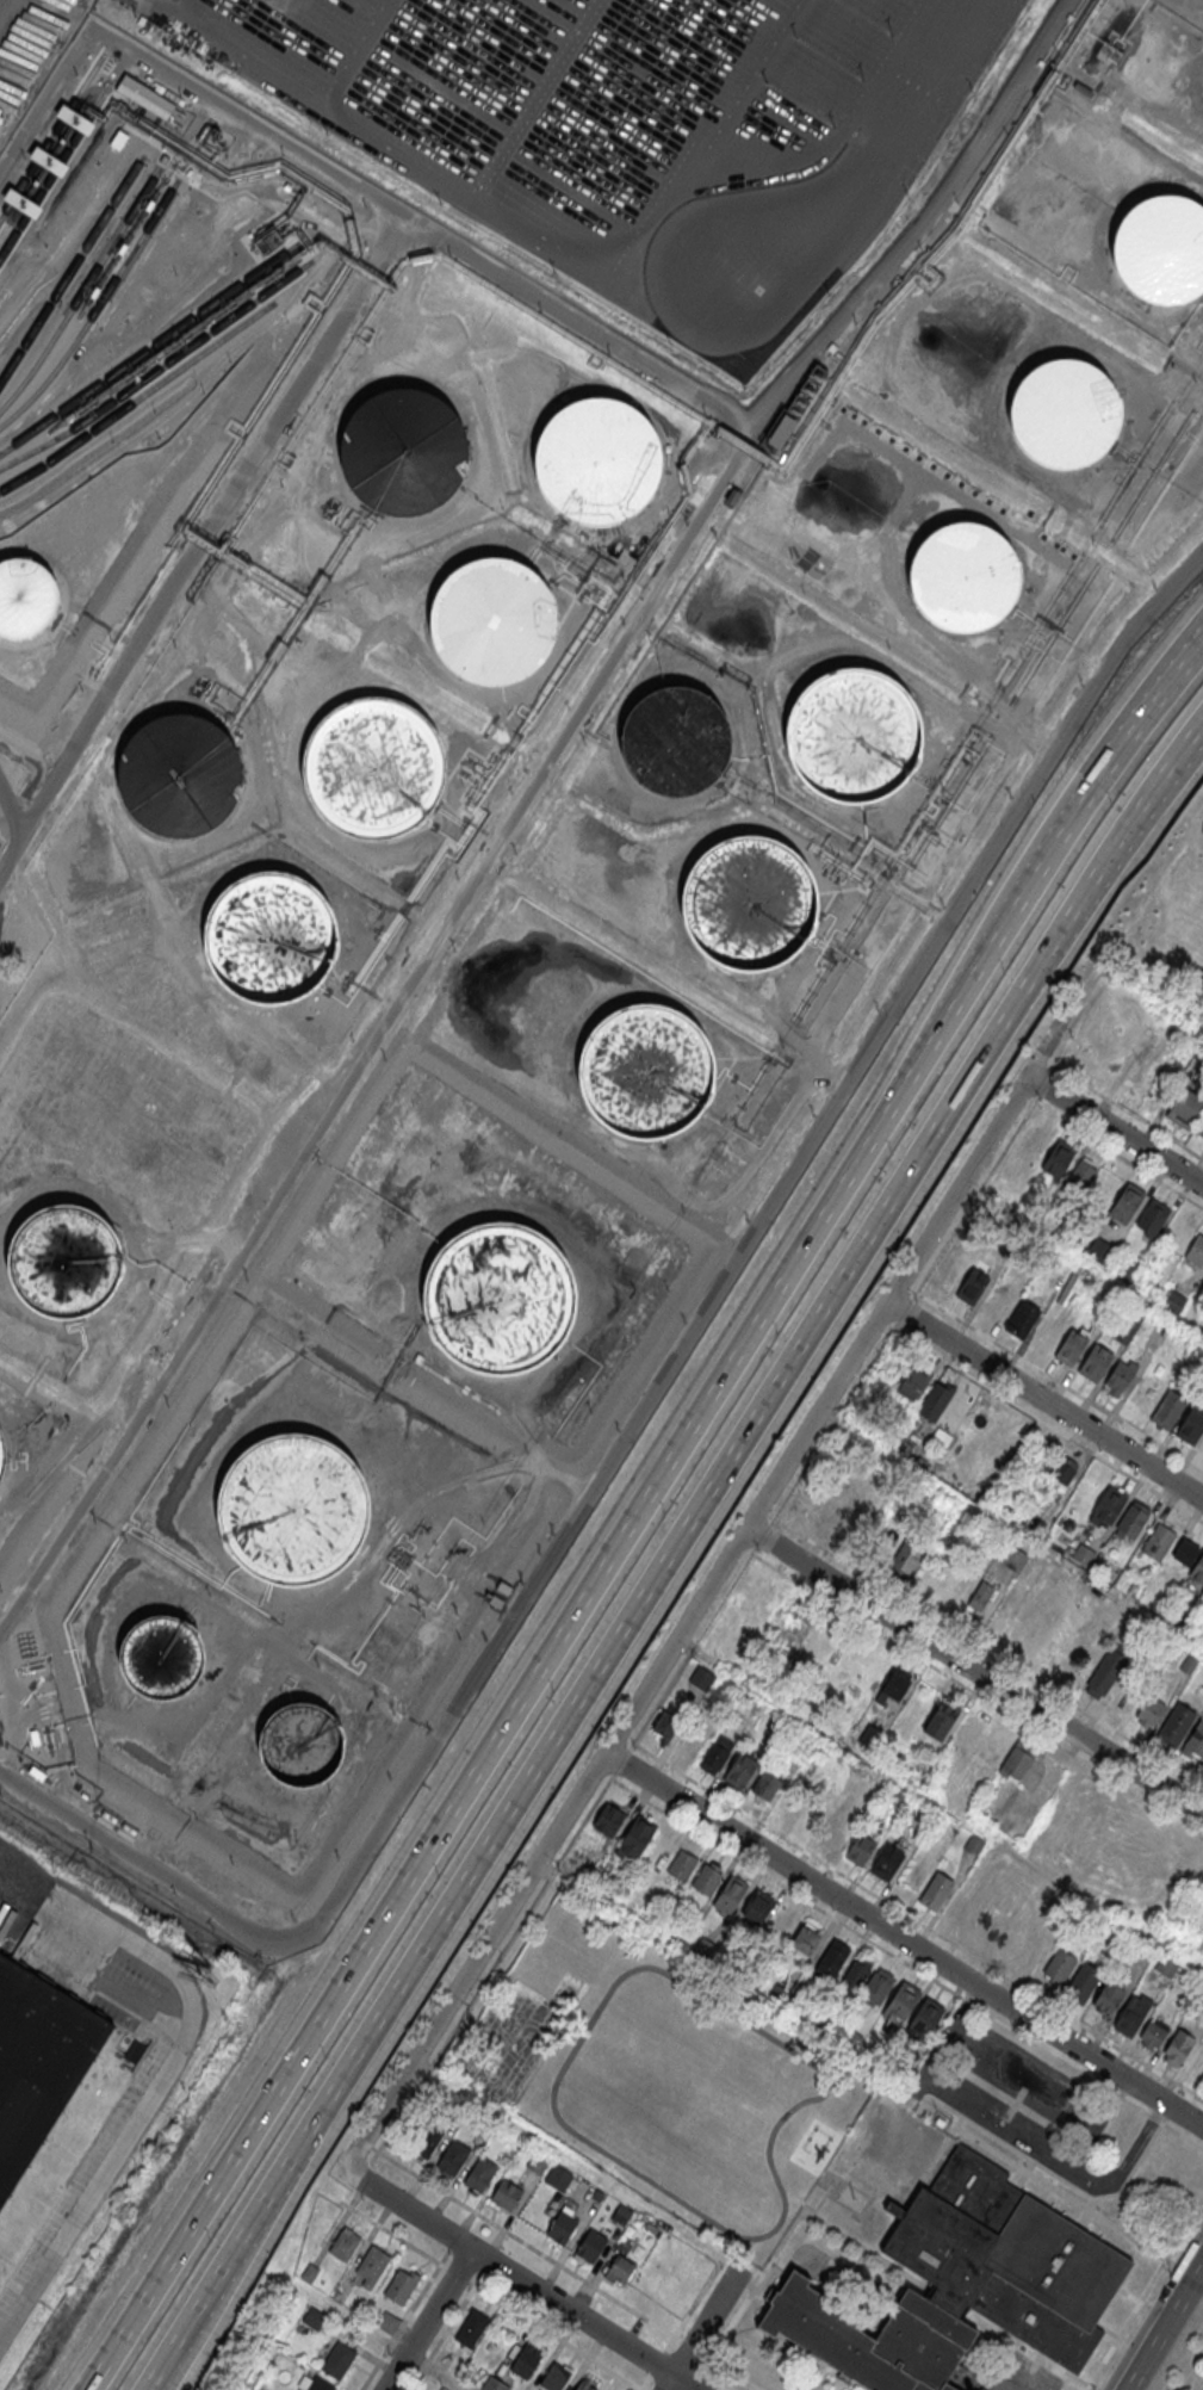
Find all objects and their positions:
road: (358, 52)
building: (145, 98)
road: (538, 99)
parking lot: (637, 129)
railway: (51, 137)
railway: (51, 175)
road: (349, 179)
road: (535, 234)
building: (1162, 250)
storage tank: (1162, 250)
railway: (81, 290)
railway: (95, 307)
road: (687, 314)
building: (1064, 415)
storage tank: (1064, 415)
building: (404, 453)
storage tank: (404, 453)
building: (595, 463)
storage tank: (595, 463)
road: (204, 544)
building: (963, 580)
storage tank: (963, 580)
building: (26, 599)
storage tank: (26, 599)
building: (491, 624)
storage tank: (491, 624)
road: (1128, 710)
building: (852, 735)
storage tank: (852, 735)
building: (676, 739)
storage tank: (676, 739)
building: (372, 768)
storage tank: (372, 768)
building: (180, 775)
storage tank: (180, 775)
road: (516, 805)
road: (1108, 853)
building: (749, 905)
storage tank: (749, 905)
park: (1166, 930)
building: (272, 939)
storage tank: (272, 939)
building: (645, 1072)
storage tank: (645, 1072)
building: (1184, 1108)
building: (1199, 1125)
road: (1114, 1131)
building: (1058, 1158)
building: (1080, 1175)
building: (1126, 1201)
building: (1153, 1216)
road: (746, 1236)
building: (1099, 1250)
building: (1196, 1250)
building: (64, 1263)
storage tank: (64, 1263)
building: (947, 1270)
building: (1126, 1273)
building: (973, 1286)
building: (501, 1296)
storage tank: (501, 1296)
building: (999, 1299)
building: (1173, 1300)
building: (1023, 1318)
building: (1046, 1330)
building: (1069, 1346)
building: (1096, 1362)
building: (1120, 1377)
building: (913, 1383)
road: (852, 1392)
road: (1044, 1399)
building: (934, 1401)
building: (1170, 1407)
building: (1191, 1425)
building: (1202, 1447)
building: (1, 1463)
building: (1061, 1469)
building: (1108, 1504)
building: (293, 1505)
storage tank: (293, 1505)
building: (833, 1510)
road: (634, 1517)
building: (1133, 1519)
building: (1031, 1524)
building: (1158, 1542)
building: (1185, 1552)
building: (1081, 1555)
building: (904, 1558)
building: (1012, 1558)
building: (1198, 1569)
building: (979, 1595)
building: (1108, 1616)
road: (686, 1620)
building: (1199, 1633)
building: (162, 1657)
storage tank: (162, 1657)
building: (1189, 1664)
building: (1108, 1667)
road: (973, 1670)
building: (894, 1685)
road: (588, 1691)
building: (1123, 1697)
building: (1151, 1710)
building: (940, 1720)
building: (665, 1722)
building: (1176, 1725)
building: (968, 1730)
building: (869, 1735)
building: (690, 1740)
building: (1193, 1742)
building: (302, 1745)
storage tank: (302, 1745)
building: (992, 1746)
building: (714, 1754)
building: (1017, 1757)
building: (739, 1770)
building: (765, 1785)
building: (900, 1797)
building: (924, 1814)
building: (608, 1816)
building: (839, 1828)
building: (634, 1839)
building: (973, 1844)
building: (860, 1849)
building: (886, 1860)
road: (151, 1863)
building: (682, 1863)
road: (553, 1871)
building: (706, 1878)
road: (546, 1882)
building: (935, 1890)
building: (730, 1891)
building: (758, 1906)
building: (777, 1925)
road: (904, 1939)
building: (804, 1940)
building: (702, 1948)
building: (830, 1959)
building: (1166, 1964)
building: (728, 1965)
building: (1059, 1965)
building: (856, 1976)
building: (1083, 1982)
building: (878, 1985)
building: (776, 1993)
building: (1109, 1996)
building: (901, 2001)
building: (1131, 2013)
building: (924, 2018)
building: (1152, 2033)
building: (850, 2039)
building: (1177, 2047)
building: (38, 2062)
road: (166, 2072)
road: (1015, 2136)
building: (424, 2141)
road: (366, 2142)
road: (588, 2143)
building: (452, 2156)
building: (537, 2161)
building: (480, 2173)
building: (557, 2177)
building: (506, 2193)
building: (596, 2194)
road: (409, 2210)
building: (621, 2213)
building: (562, 2227)
road: (393, 2233)
road: (453, 2242)
building: (343, 2245)
building: (590, 2246)
building: (371, 2265)
road: (565, 2267)
building: (619, 2271)
building: (310, 2272)
road: (457, 2273)
building: (401, 2285)
building: (966, 2286)
road: (572, 2311)
building: (314, 2317)
road: (405, 2317)
road: (427, 2318)
building: (386, 2321)
road: (1162, 2322)
road: (680, 2326)
building: (471, 2328)
road: (700, 2329)
road: (556, 2335)
road: (441, 2336)
road: (413, 2359)
building: (339, 2360)
building: (526, 2361)
building: (553, 2377)
road: (683, 2383)
building: (318, 2384)
building: (494, 2384)
building: (584, 2385)
road: (640, 2389)

